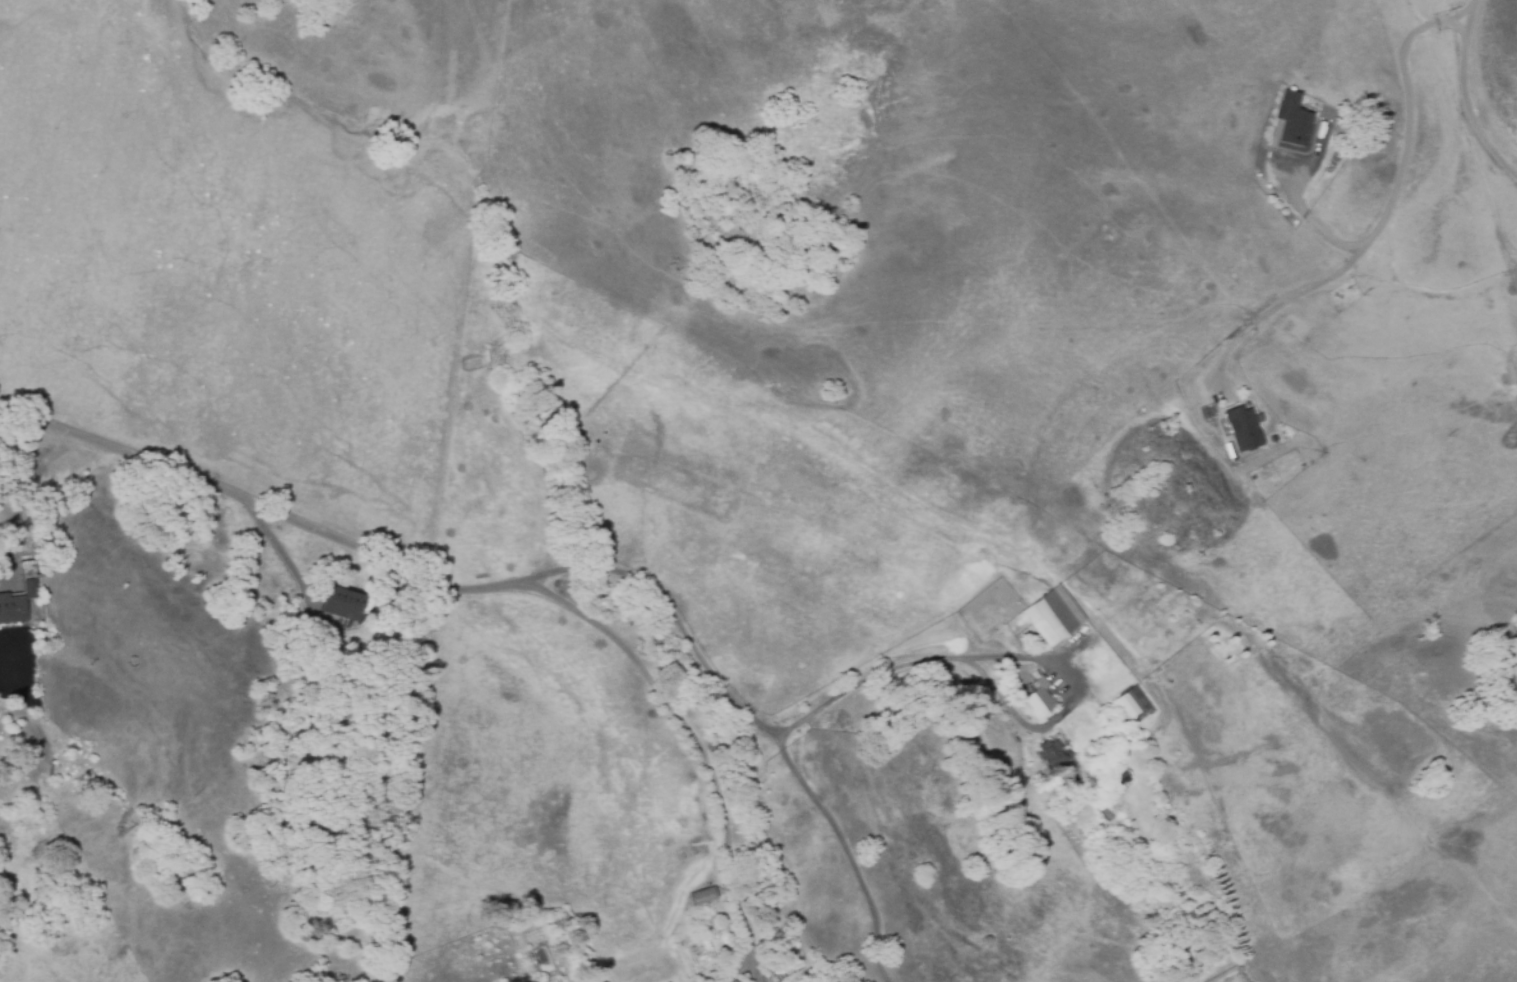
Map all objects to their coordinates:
road: (1465, 95)
building: (1293, 119)
road: (1387, 206)
road: (1308, 220)
building: (1245, 429)
road: (25, 496)
road: (260, 512)
road: (273, 546)
building: (17, 604)
building: (343, 604)
building: (1055, 617)
building: (1040, 704)
building: (1133, 704)
road: (764, 731)
road: (697, 747)
building: (1052, 755)
building: (704, 896)
building: (780, 977)

